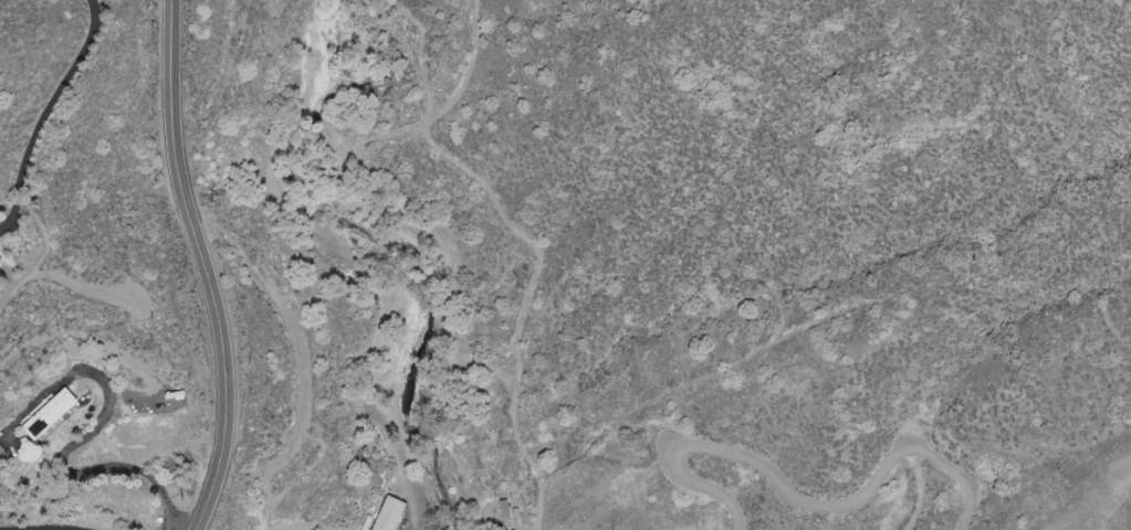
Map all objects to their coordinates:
road: (46, 114)
road: (205, 267)
building: (53, 415)
road: (66, 456)
building: (392, 515)

